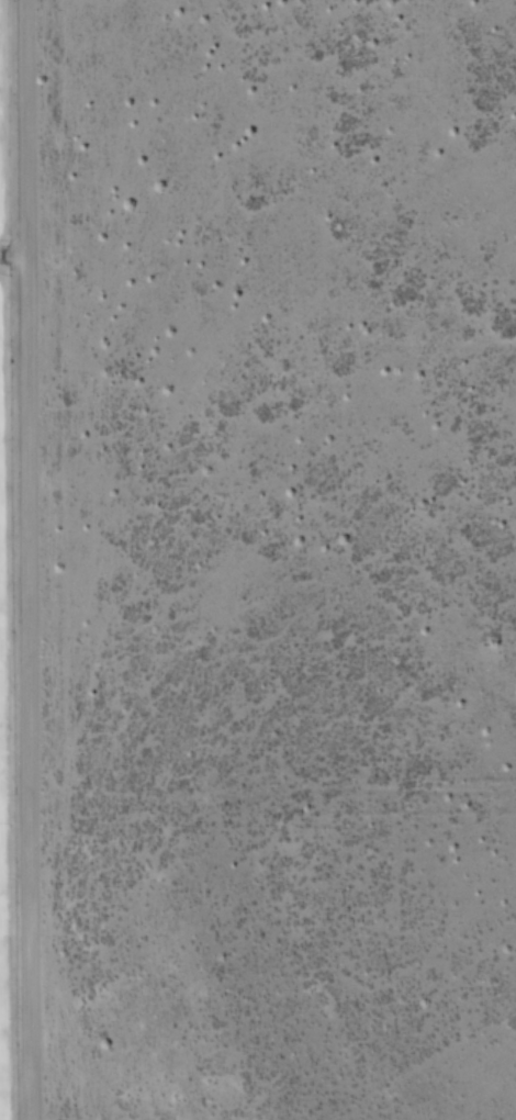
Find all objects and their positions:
road: (35, 560)

